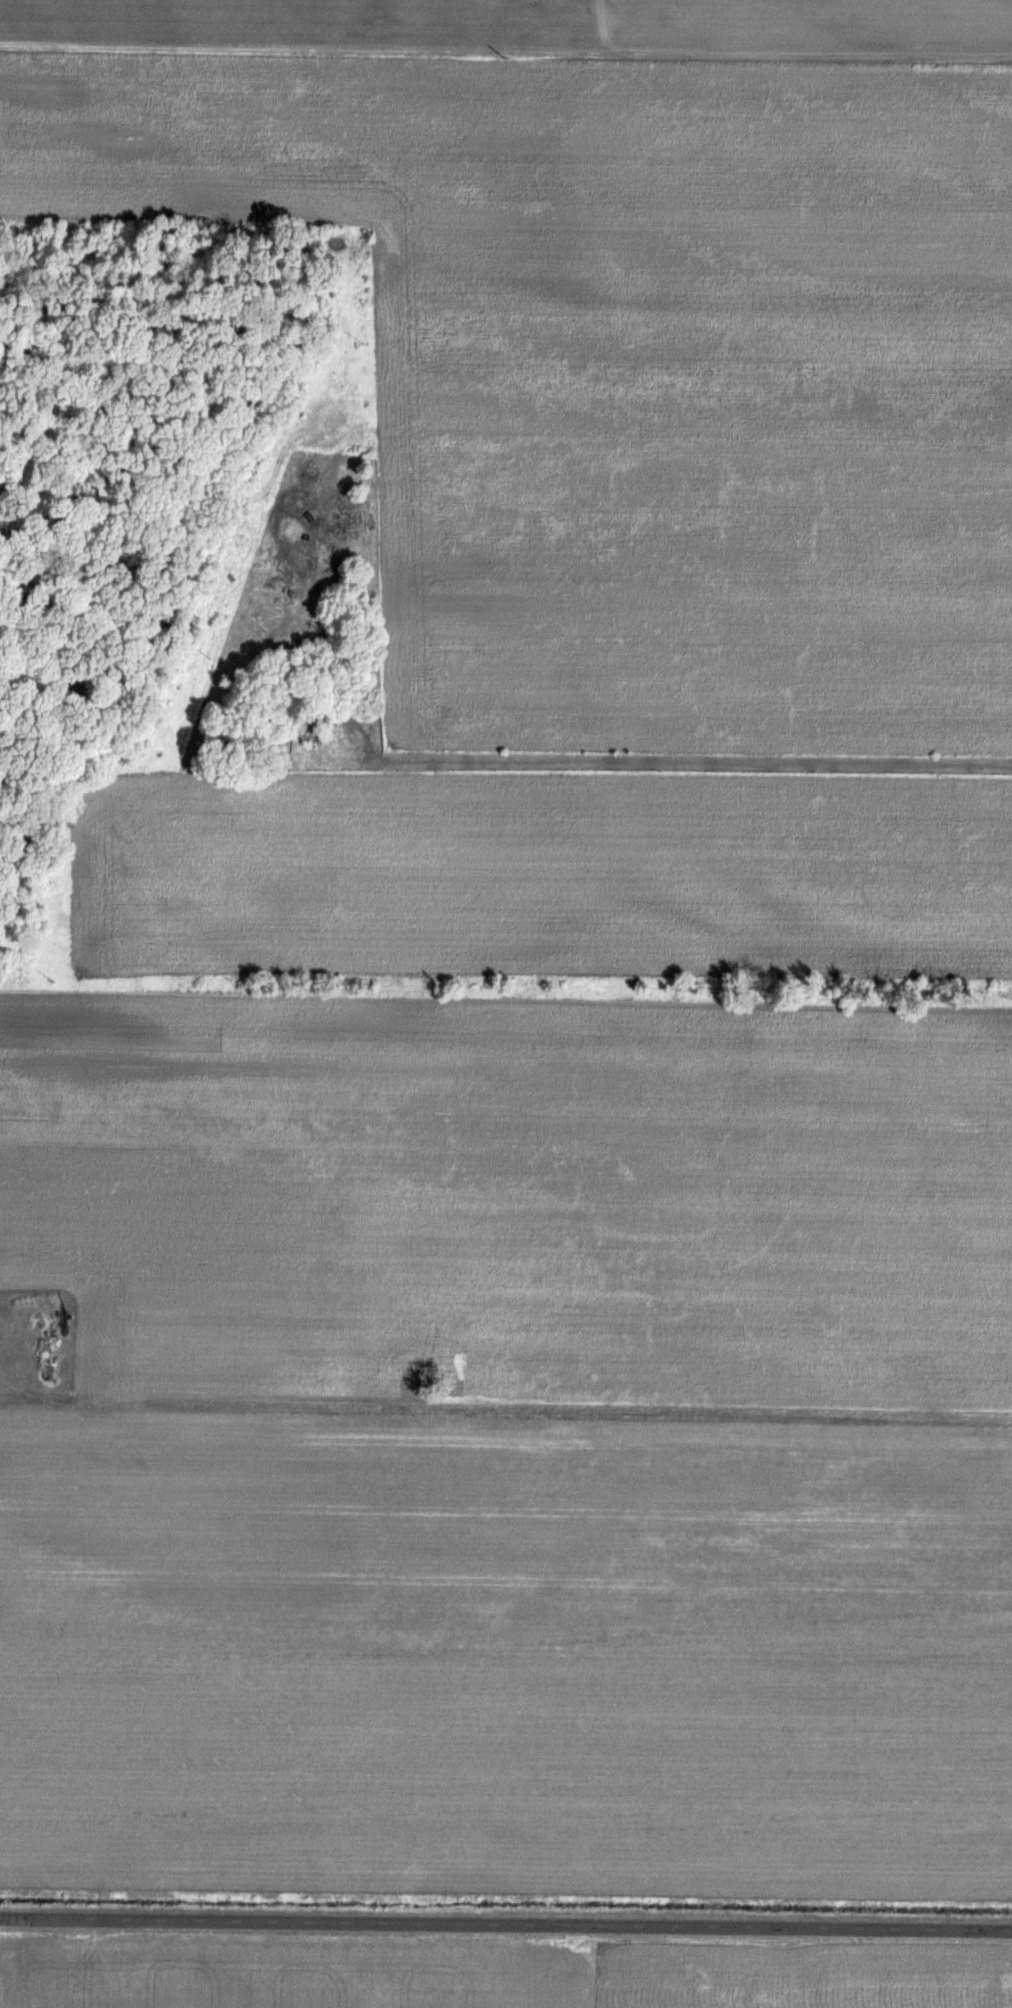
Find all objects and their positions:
road: (506, 1923)

